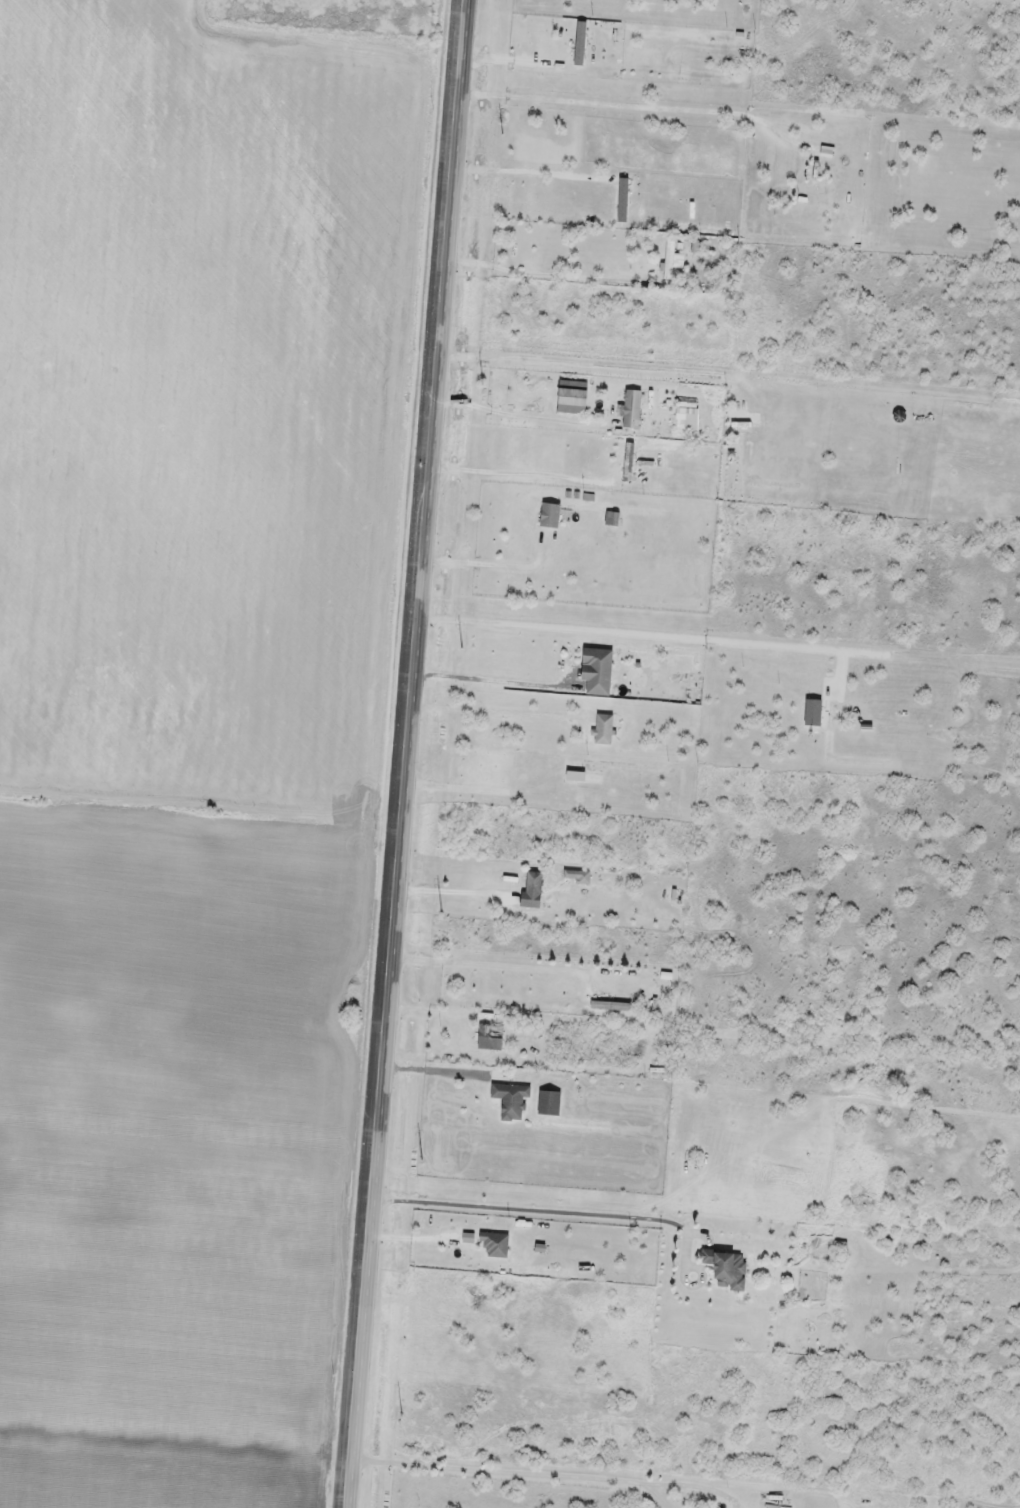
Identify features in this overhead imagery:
road: (618, 80)
road: (617, 97)
building: (827, 150)
building: (670, 258)
road: (598, 344)
road: (597, 360)
building: (633, 407)
building: (629, 459)
building: (550, 514)
building: (613, 517)
road: (749, 602)
road: (579, 604)
road: (576, 621)
building: (598, 669)
road: (409, 753)
road: (201, 838)
building: (535, 881)
road: (553, 921)
road: (549, 935)
building: (490, 1038)
building: (511, 1099)
building: (549, 1101)
road: (699, 1205)
road: (529, 1207)
road: (852, 1216)
building: (496, 1244)
building: (727, 1267)
road: (510, 1448)
road: (510, 1468)

